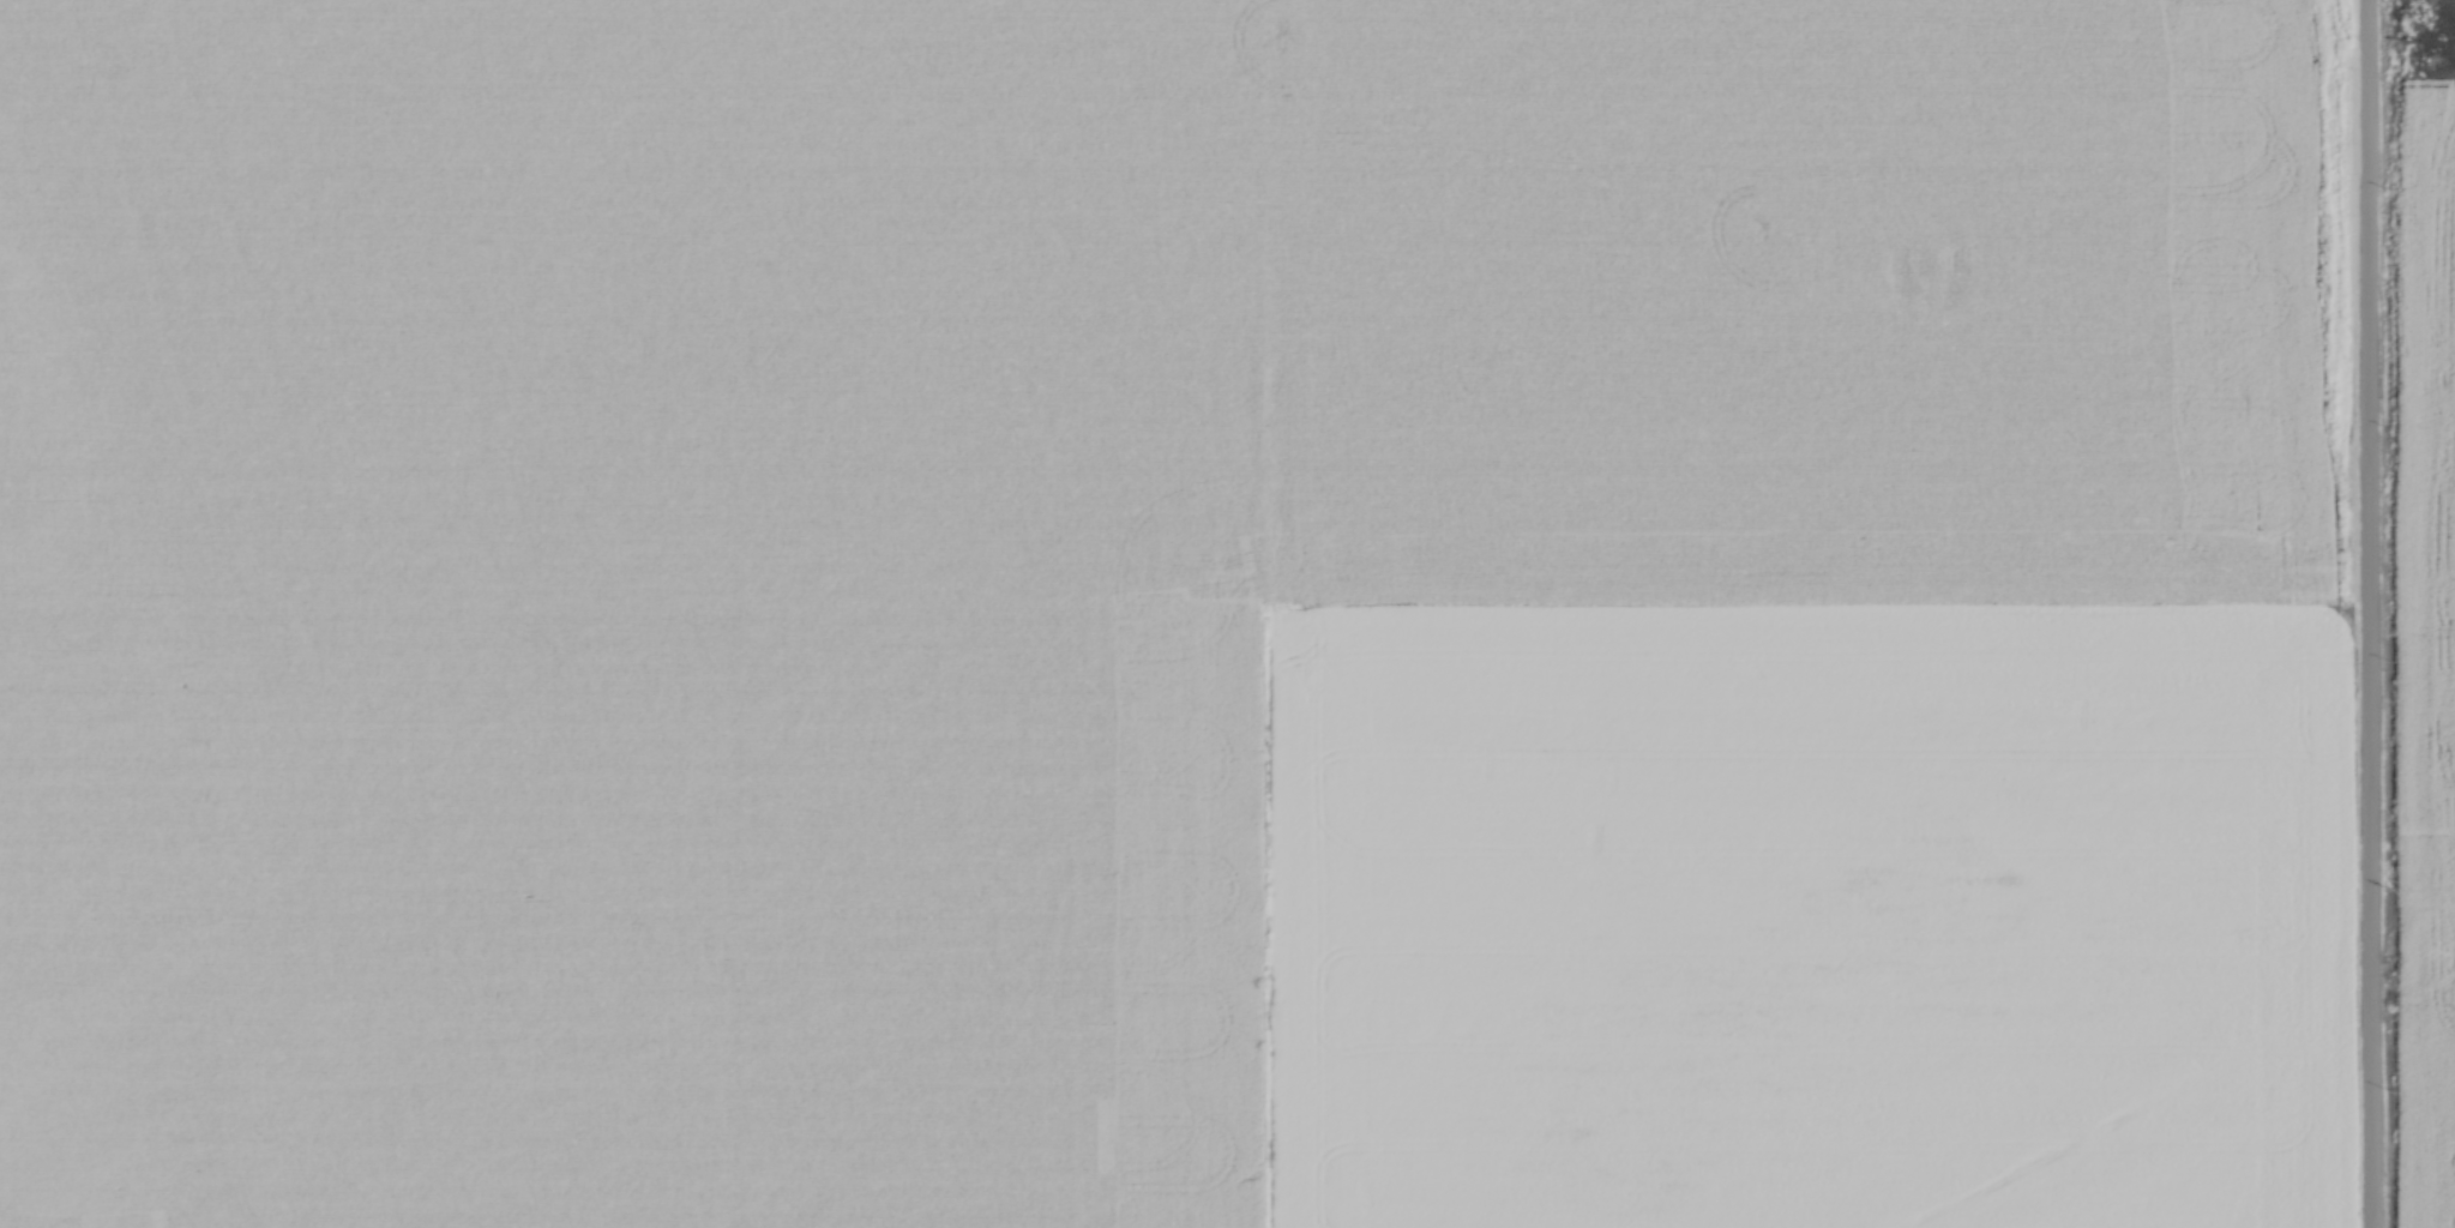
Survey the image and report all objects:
road: (2364, 614)

